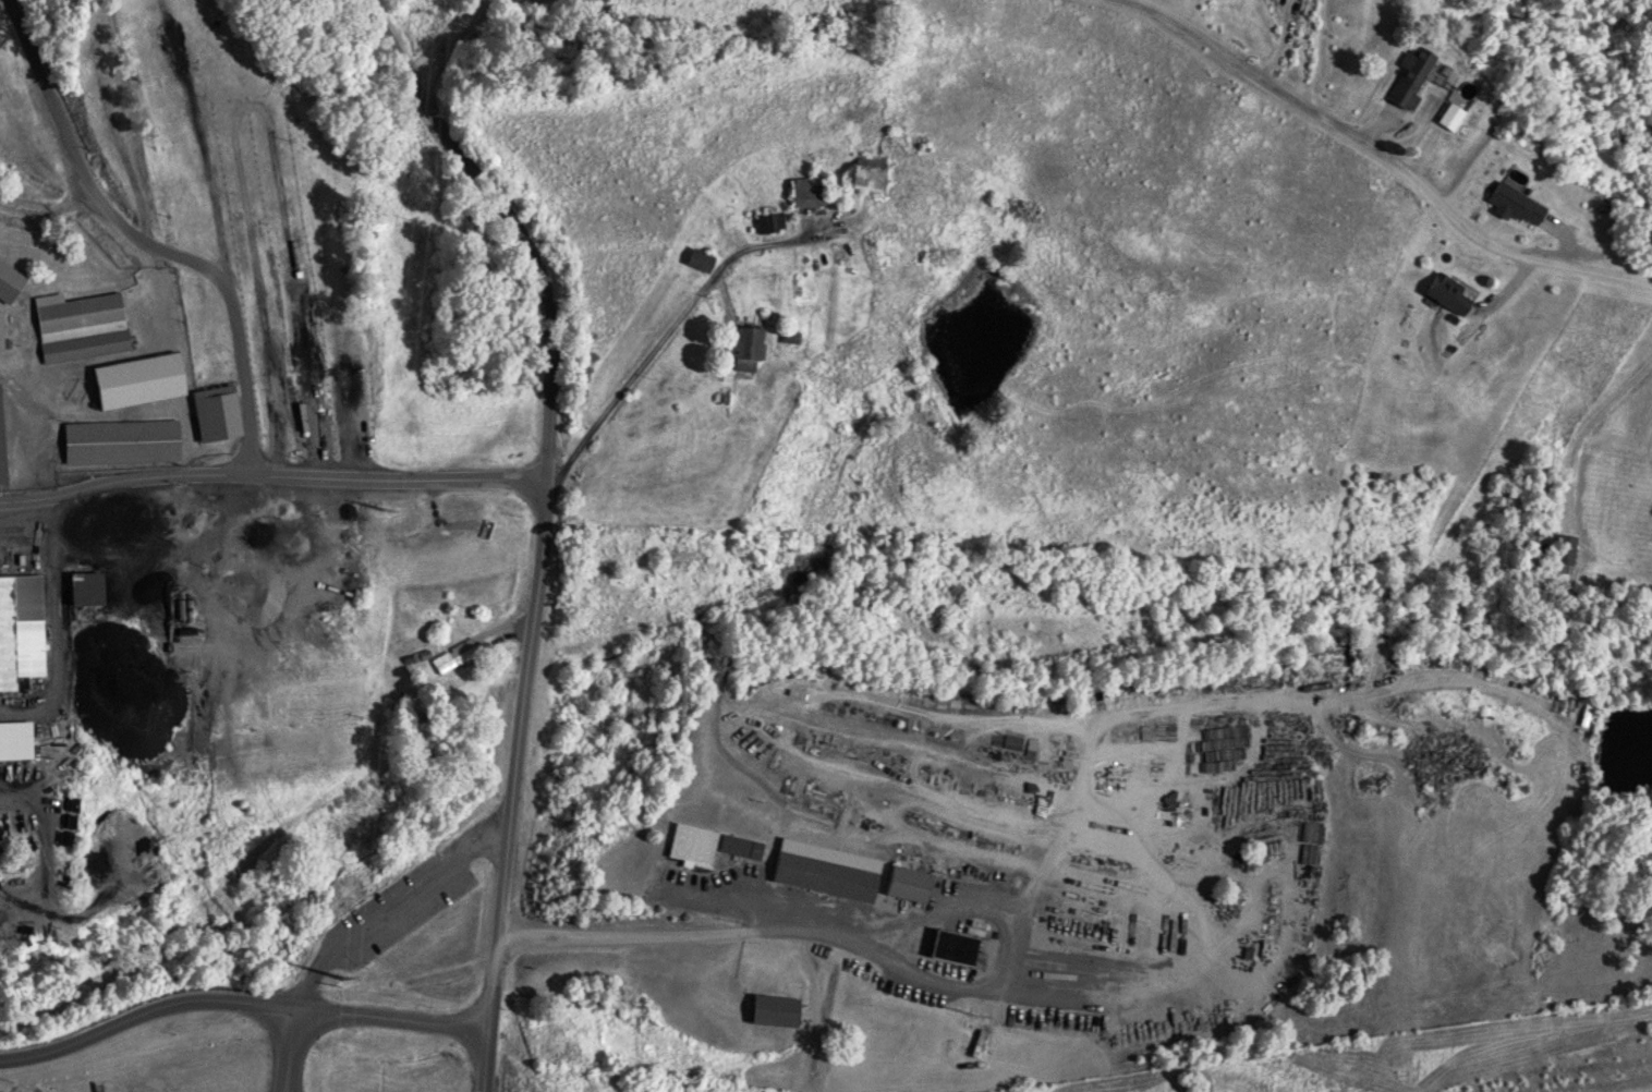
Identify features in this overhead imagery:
road: (445, 38)
building: (1409, 75)
building: (1448, 116)
road: (1384, 155)
building: (864, 171)
building: (804, 192)
building: (1513, 204)
road: (45, 211)
building: (767, 220)
road: (147, 239)
building: (697, 258)
building: (8, 281)
building: (1445, 292)
building: (77, 326)
building: (0, 328)
building: (739, 347)
building: (120, 440)
building: (1, 453)
road: (124, 476)
road: (398, 477)
road: (545, 493)
power tower: (379, 501)
building: (1565, 553)
building: (20, 628)
building: (453, 656)
building: (1206, 676)
building: (1586, 715)
building: (15, 739)
building: (691, 844)
building: (739, 846)
building: (824, 875)
building: (904, 883)
road: (390, 903)
parking lot: (408, 905)
building: (951, 945)
power tower: (336, 984)
road: (241, 1004)
building: (773, 1010)
road: (294, 1052)
road: (486, 1064)

